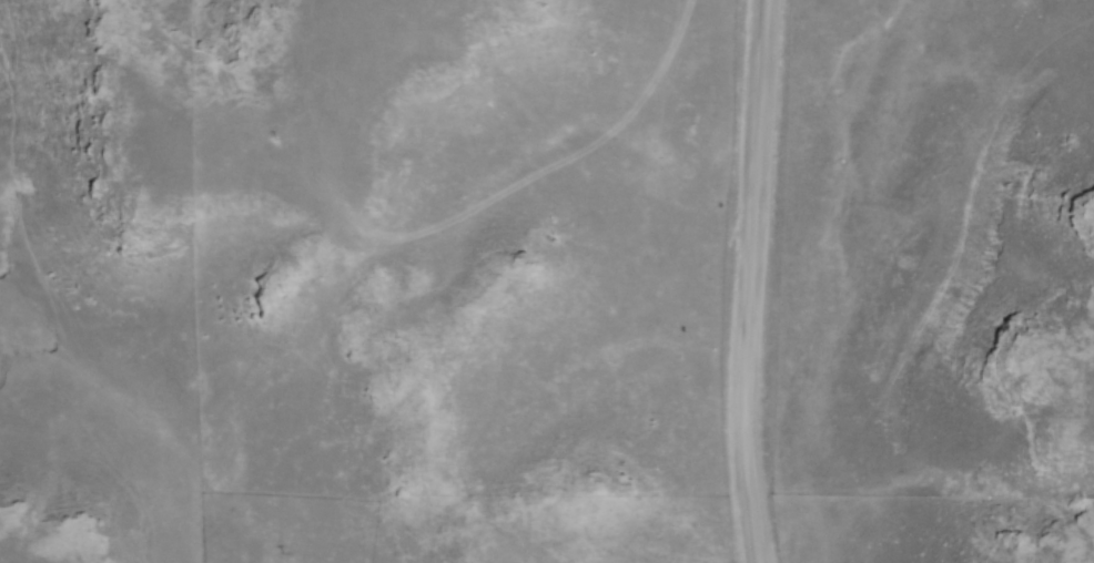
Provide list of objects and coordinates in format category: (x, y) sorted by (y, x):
road: (742, 281)

